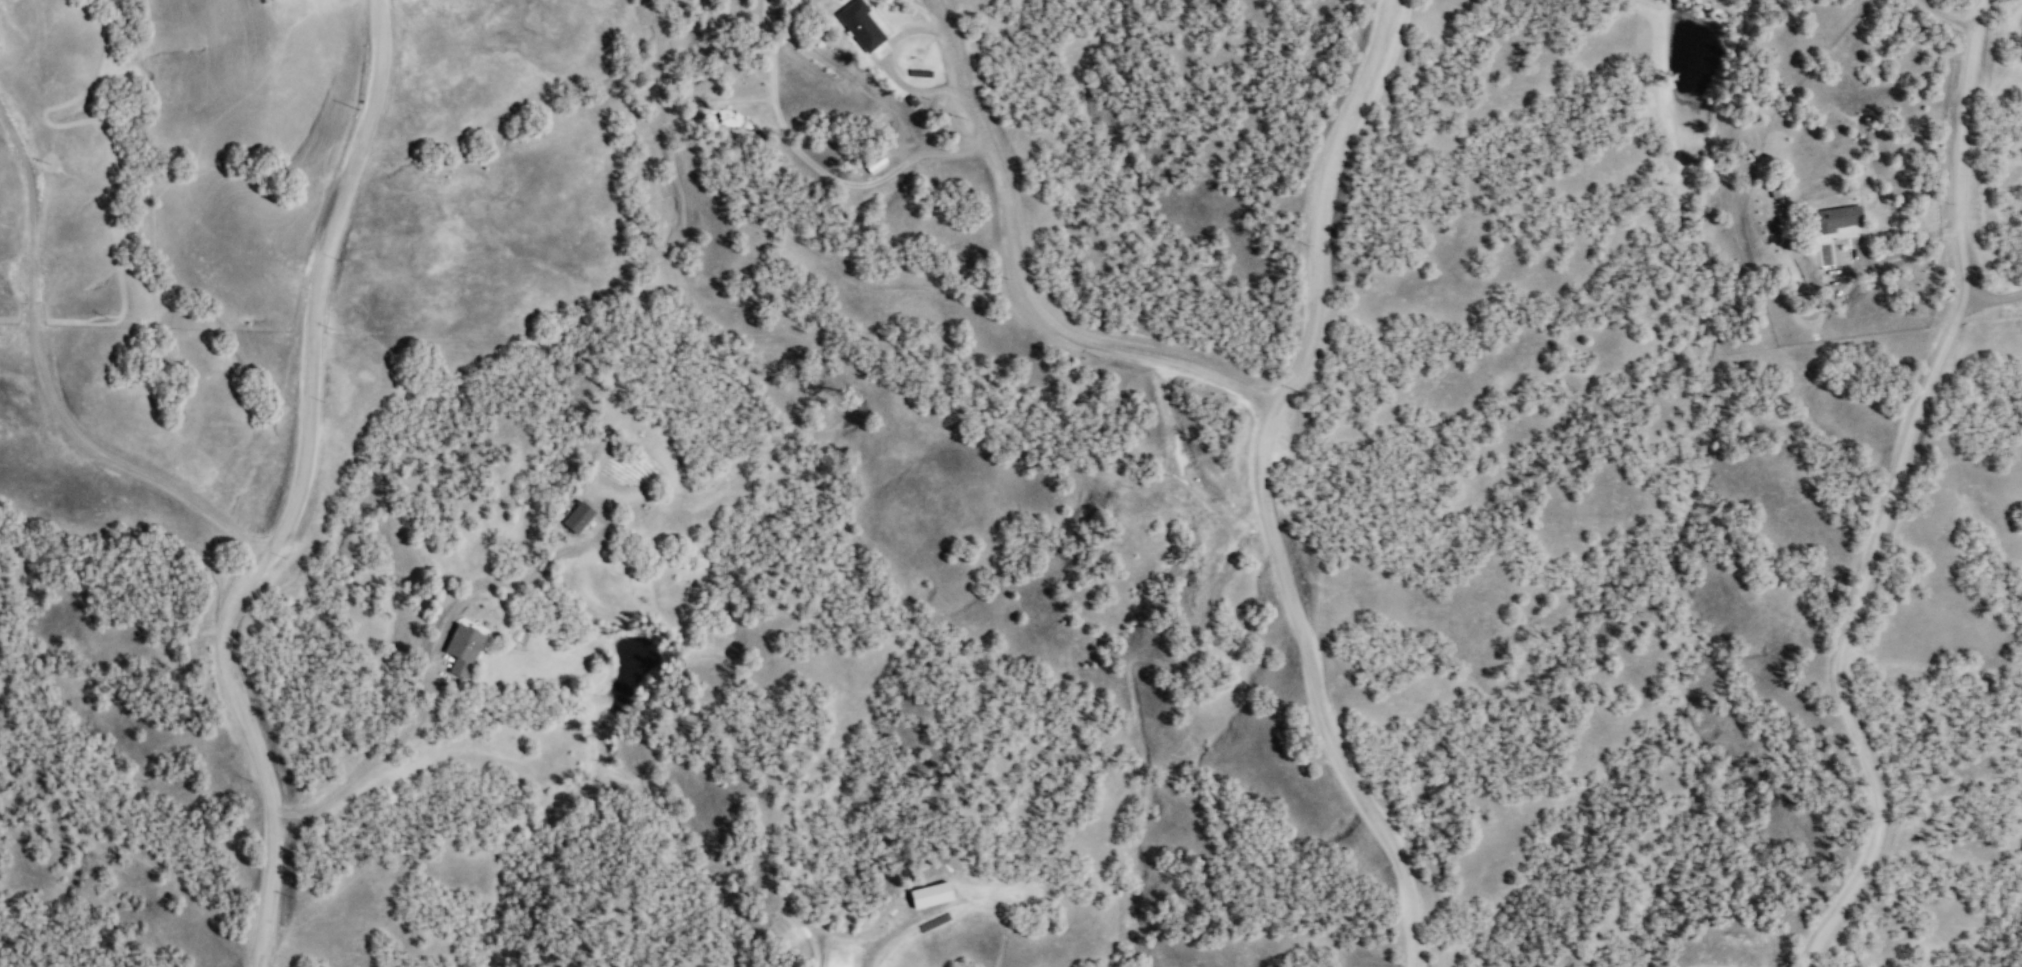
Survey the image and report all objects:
building: (861, 25)
building: (1842, 217)
road: (1024, 282)
road: (51, 374)
road: (1272, 487)
road: (1899, 490)
road: (304, 491)
building: (578, 517)
building: (463, 649)
road: (429, 673)
building: (930, 893)
building: (851, 966)

